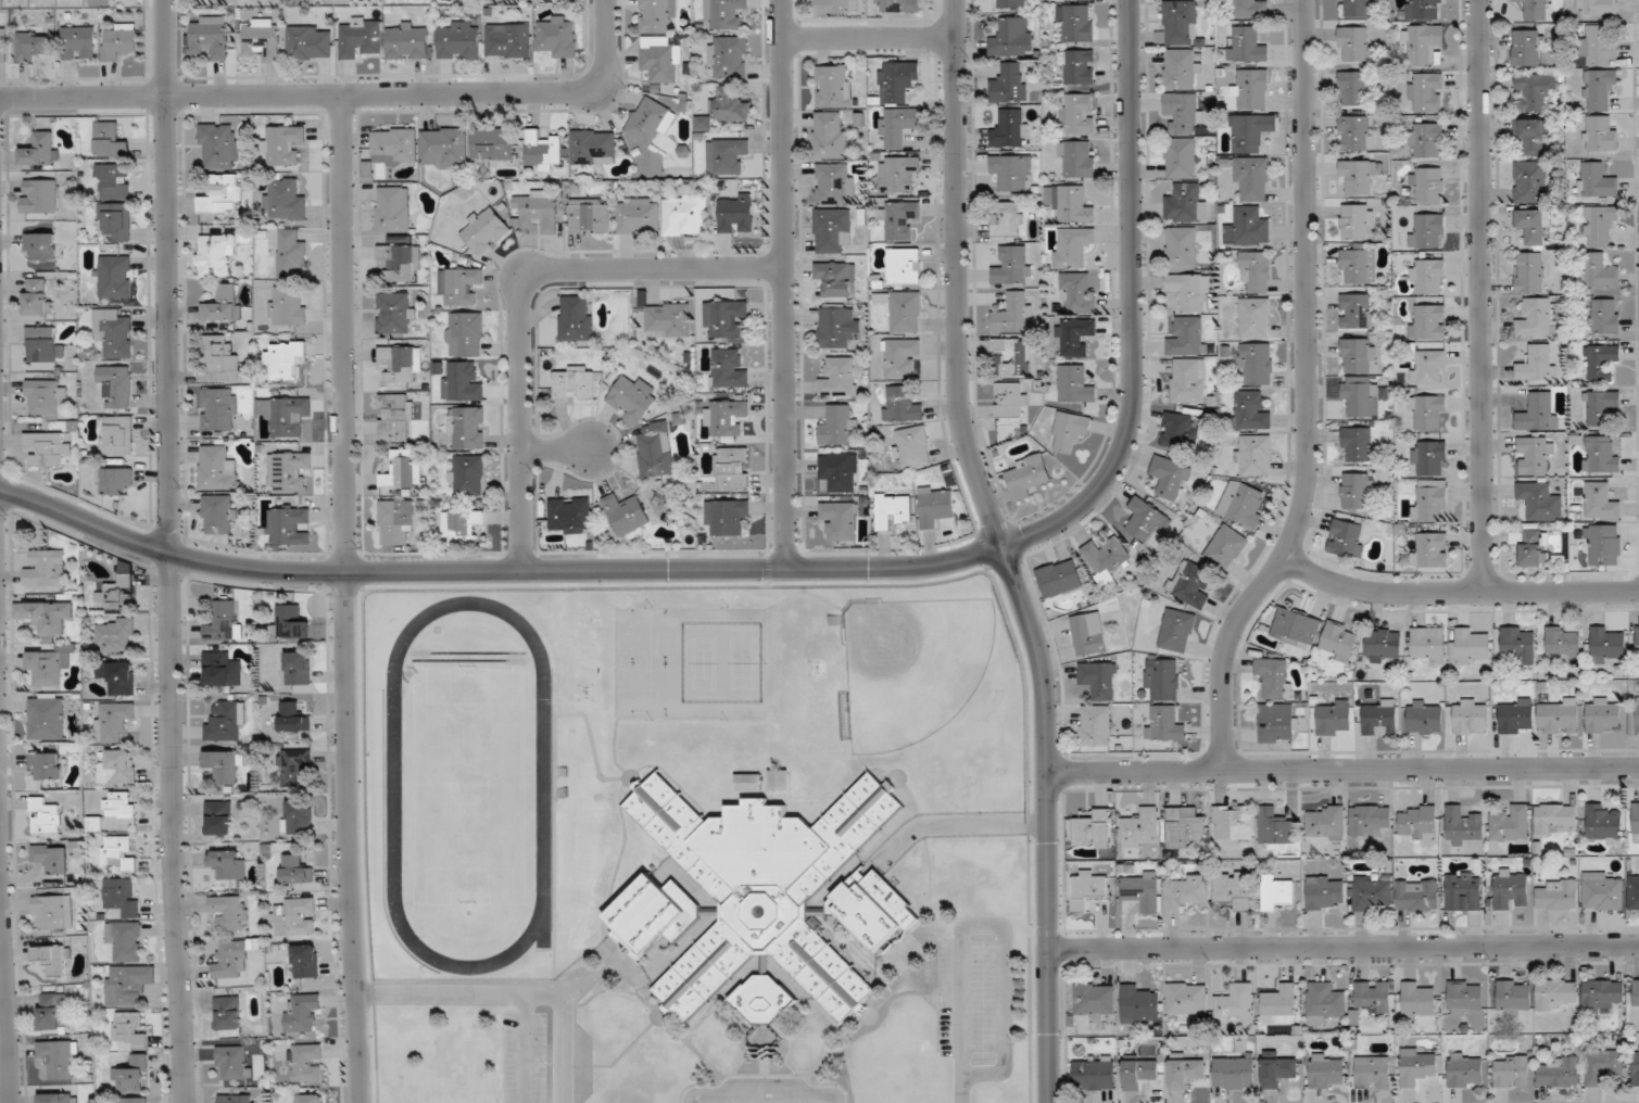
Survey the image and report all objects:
building: (1012, 3)
building: (834, 5)
building: (898, 5)
building: (1597, 7)
building: (1357, 8)
building: (1249, 9)
building: (1425, 9)
building: (1536, 10)
building: (724, 14)
building: (657, 16)
building: (1180, 22)
building: (1076, 23)
building: (211, 36)
building: (263, 37)
building: (1013, 37)
building: (362, 38)
building: (555, 38)
road: (868, 38)
building: (407, 40)
building: (458, 40)
building: (507, 40)
building: (78, 42)
building: (118, 42)
building: (310, 42)
building: (3, 43)
building: (1353, 43)
building: (1422, 43)
building: (1246, 45)
building: (30, 46)
building: (1598, 47)
building: (1527, 48)
building: (728, 56)
building: (659, 59)
building: (1076, 66)
building: (1181, 68)
building: (897, 81)
building: (1010, 84)
building: (834, 86)
building: (1354, 88)
building: (1599, 88)
building: (1252, 89)
building: (1533, 90)
building: (1427, 91)
road: (345, 94)
building: (726, 109)
building: (1183, 111)
building: (1077, 113)
building: (650, 121)
building: (897, 126)
building: (1010, 129)
building: (1249, 132)
building: (1356, 132)
building: (1600, 132)
building: (829, 135)
building: (1531, 135)
building: (1426, 139)
building: (110, 140)
building: (281, 144)
building: (394, 144)
building: (218, 145)
building: (491, 145)
building: (593, 147)
building: (444, 148)
building: (40, 149)
building: (542, 152)
building: (726, 155)
building: (1180, 157)
building: (1076, 159)
building: (1012, 172)
building: (898, 174)
building: (1358, 176)
building: (1250, 177)
building: (1597, 179)
building: (113, 181)
building: (1529, 182)
building: (834, 183)
building: (1427, 185)
building: (39, 195)
building: (222, 195)
building: (285, 201)
building: (1186, 203)
building: (1071, 205)
building: (392, 208)
building: (539, 208)
building: (735, 214)
building: (638, 215)
building: (685, 215)
building: (590, 216)
building: (1007, 218)
building: (899, 219)
building: (116, 220)
building: (1357, 221)
building: (1599, 225)
building: (1533, 226)
building: (1248, 227)
building: (484, 229)
building: (831, 229)
building: (1427, 231)
building: (40, 245)
building: (1072, 246)
building: (1182, 246)
building: (215, 255)
building: (291, 255)
building: (401, 261)
building: (1013, 265)
building: (904, 266)
building: (1358, 266)
building: (1256, 270)
building: (1598, 270)
building: (1529, 271)
building: (1427, 276)
building: (115, 277)
building: (836, 278)
road: (783, 283)
building: (1077, 291)
building: (1188, 291)
road: (518, 293)
road: (1479, 295)
building: (36, 296)
building: (224, 304)
road: (1133, 304)
building: (288, 306)
building: (1358, 310)
building: (906, 312)
building: (395, 313)
building: (1013, 313)
building: (1604, 316)
building: (576, 318)
building: (1255, 318)
building: (1537, 318)
building: (668, 319)
building: (726, 319)
building: (1428, 321)
building: (834, 326)
building: (113, 332)
building: (465, 334)
building: (1074, 337)
building: (1187, 337)
building: (43, 345)
building: (219, 354)
building: (1358, 355)
building: (902, 357)
building: (1011, 357)
building: (286, 359)
building: (402, 362)
building: (1600, 362)
building: (1538, 363)
building: (1256, 364)
building: (1428, 367)
building: (728, 369)
building: (840, 378)
building: (1187, 381)
building: (461, 382)
building: (575, 383)
building: (116, 384)
building: (1074, 384)
building: (42, 396)
road: (1308, 396)
building: (1359, 396)
building: (632, 397)
building: (1010, 400)
building: (900, 404)
building: (1601, 406)
building: (219, 408)
building: (1250, 410)
building: (1427, 411)
building: (1539, 411)
building: (285, 415)
building: (395, 416)
building: (724, 416)
building: (839, 424)
building: (467, 428)
building: (1069, 431)
building: (1178, 432)
building: (116, 435)
building: (1357, 444)
building: (48, 447)
building: (911, 447)
building: (656, 451)
road: (557, 454)
building: (1602, 454)
building: (1253, 455)
building: (1535, 455)
building: (1429, 458)
building: (732, 468)
building: (217, 469)
building: (402, 470)
building: (287, 471)
building: (840, 471)
building: (467, 474)
building: (1026, 477)
building: (1169, 479)
building: (117, 481)
building: (1357, 491)
building: (1430, 499)
building: (1540, 500)
building: (1600, 502)
building: (935, 504)
building: (1243, 504)
building: (892, 509)
building: (627, 512)
building: (219, 514)
building: (570, 516)
building: (727, 517)
building: (1146, 519)
building: (841, 520)
building: (395, 521)
building: (290, 525)
building: (461, 527)
building: (1347, 537)
building: (1603, 545)
building: (1531, 546)
building: (1226, 547)
building: (1429, 549)
road: (1005, 550)
road: (168, 551)
building: (1105, 559)
building: (46, 568)
road: (495, 571)
building: (1059, 578)
building: (1190, 584)
road: (1458, 592)
building: (117, 593)
road: (345, 599)
building: (45, 616)
building: (224, 621)
building: (291, 622)
building: (1296, 627)
building: (1176, 631)
building: (1088, 633)
building: (115, 635)
building: (1339, 641)
building: (1637, 642)
building: (1518, 643)
building: (1563, 644)
building: (1608, 644)
building: (1382, 645)
building: (1428, 645)
building: (1473, 646)
building: (49, 665)
building: (298, 668)
building: (818, 668)
building: (222, 670)
building: (117, 676)
building: (1274, 677)
building: (1098, 680)
building: (1162, 680)
building: (1637, 713)
building: (1602, 714)
building: (1515, 715)
building: (1561, 715)
building: (46, 717)
building: (1378, 717)
building: (1425, 717)
building: (294, 718)
building: (1333, 718)
building: (1470, 718)
building: (113, 721)
building: (226, 721)
building: (1276, 723)
building: (1164, 724)
building: (1095, 725)
building: (45, 765)
building: (224, 766)
building: (292, 766)
building: (117, 768)
road: (1342, 770)
building: (779, 779)
building: (749, 782)
park: (469, 785)
track: (395, 789)
building: (118, 804)
building: (45, 815)
building: (298, 816)
building: (218, 817)
building: (1553, 817)
building: (1371, 819)
building: (1636, 821)
building: (1325, 822)
building: (1233, 823)
building: (1419, 823)
building: (1511, 824)
building: (1603, 824)
road: (955, 825)
building: (1463, 826)
building: (1139, 827)
building: (1185, 827)
building: (1093, 829)
building: (1275, 829)
building: (118, 853)
building: (50, 858)
building: (228, 863)
building: (295, 870)
building: (764, 887)
building: (1087, 888)
building: (1233, 889)
building: (1511, 889)
building: (1603, 890)
building: (1143, 891)
building: (1277, 891)
building: (1371, 891)
building: (1463, 891)
building: (1634, 891)
building: (1184, 892)
building: (1324, 892)
building: (122, 896)
building: (1416, 896)
building: (1558, 896)
building: (875, 911)
building: (230, 912)
building: (52, 913)
building: (656, 915)
building: (294, 917)
road: (1001, 928)
building: (125, 939)
road: (1344, 948)
building: (53, 959)
building: (305, 961)
building: (127, 985)
road: (3, 990)
building: (1554, 992)
building: (1636, 992)
road: (513, 993)
building: (1601, 993)
building: (1513, 994)
building: (1372, 997)
building: (1187, 998)
building: (1464, 998)
building: (766, 999)
building: (1095, 999)
building: (1417, 999)
building: (1235, 1003)
building: (1323, 1003)
building: (1139, 1004)
building: (1279, 1005)
building: (53, 1012)
building: (302, 1012)
building: (228, 1013)
building: (129, 1030)
road: (525, 1048)
building: (61, 1058)
building: (234, 1063)
building: (306, 1063)
building: (1416, 1066)
building: (1604, 1066)
building: (1636, 1067)
building: (1185, 1069)
building: (1326, 1070)
building: (1465, 1070)
building: (1512, 1070)
building: (1235, 1072)
building: (1277, 1072)
building: (1094, 1073)
building: (1139, 1073)
building: (1373, 1073)
building: (1560, 1073)
building: (131, 1074)
road: (962, 1088)
road: (764, 1094)
building: (311, 1098)
building: (236, 1099)
building: (134, 1100)

